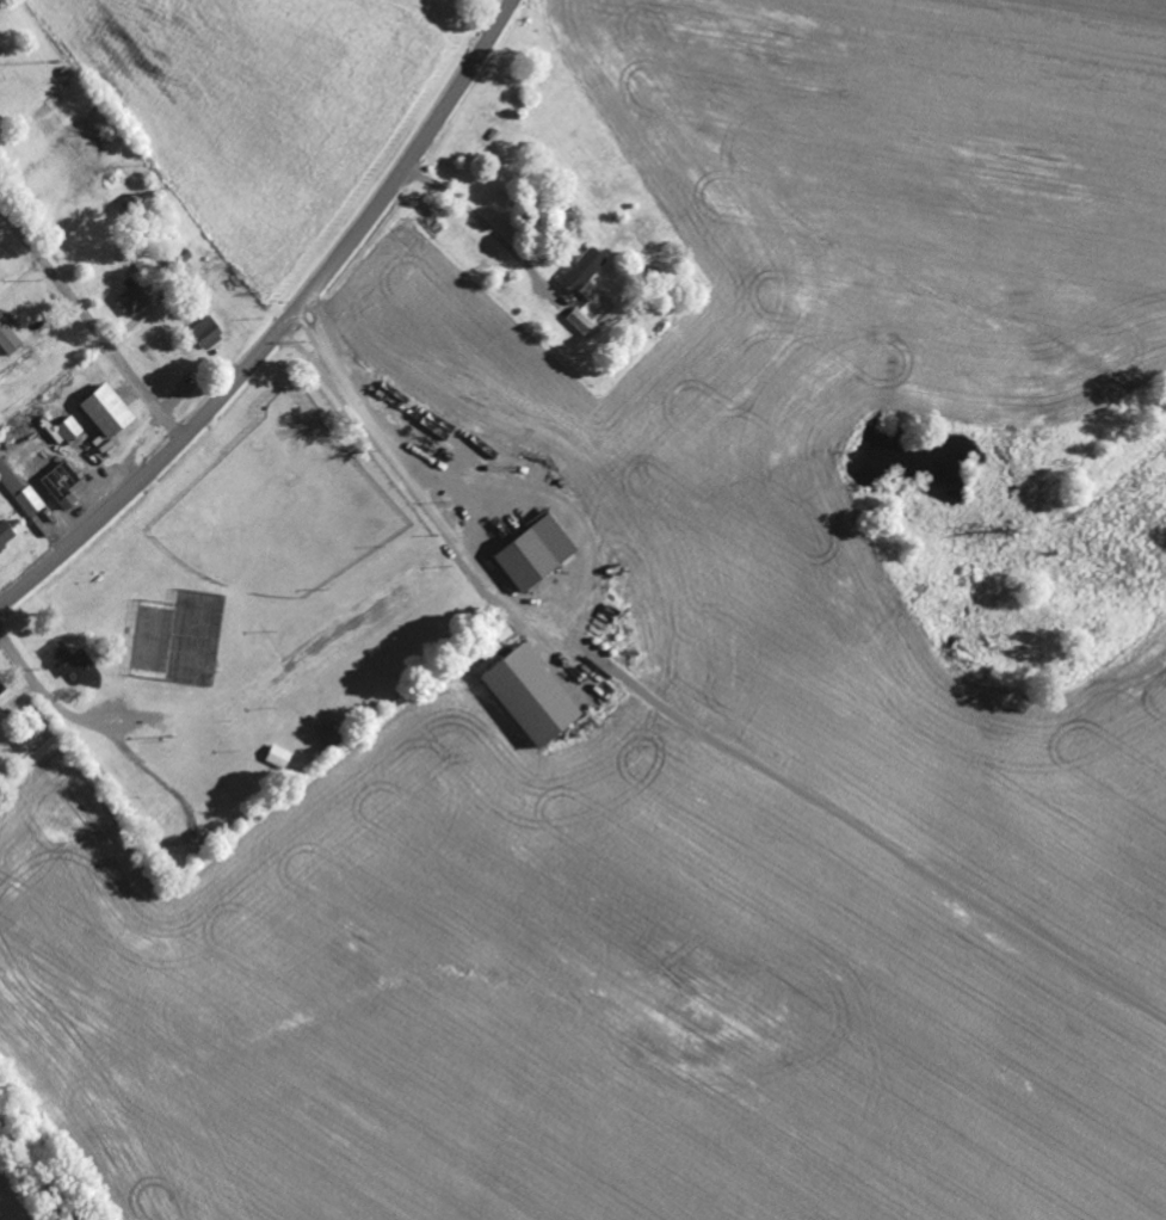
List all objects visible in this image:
building: (135, 205)
road: (360, 229)
building: (581, 265)
building: (131, 292)
building: (580, 320)
road: (91, 325)
building: (204, 326)
building: (8, 334)
building: (105, 406)
building: (68, 424)
building: (19, 485)
building: (67, 486)
road: (93, 526)
building: (5, 528)
building: (531, 548)
building: (505, 633)
road: (33, 678)
building: (2, 689)
building: (525, 689)
building: (334, 737)
building: (277, 751)
road: (179, 842)
road: (1008, 1167)

